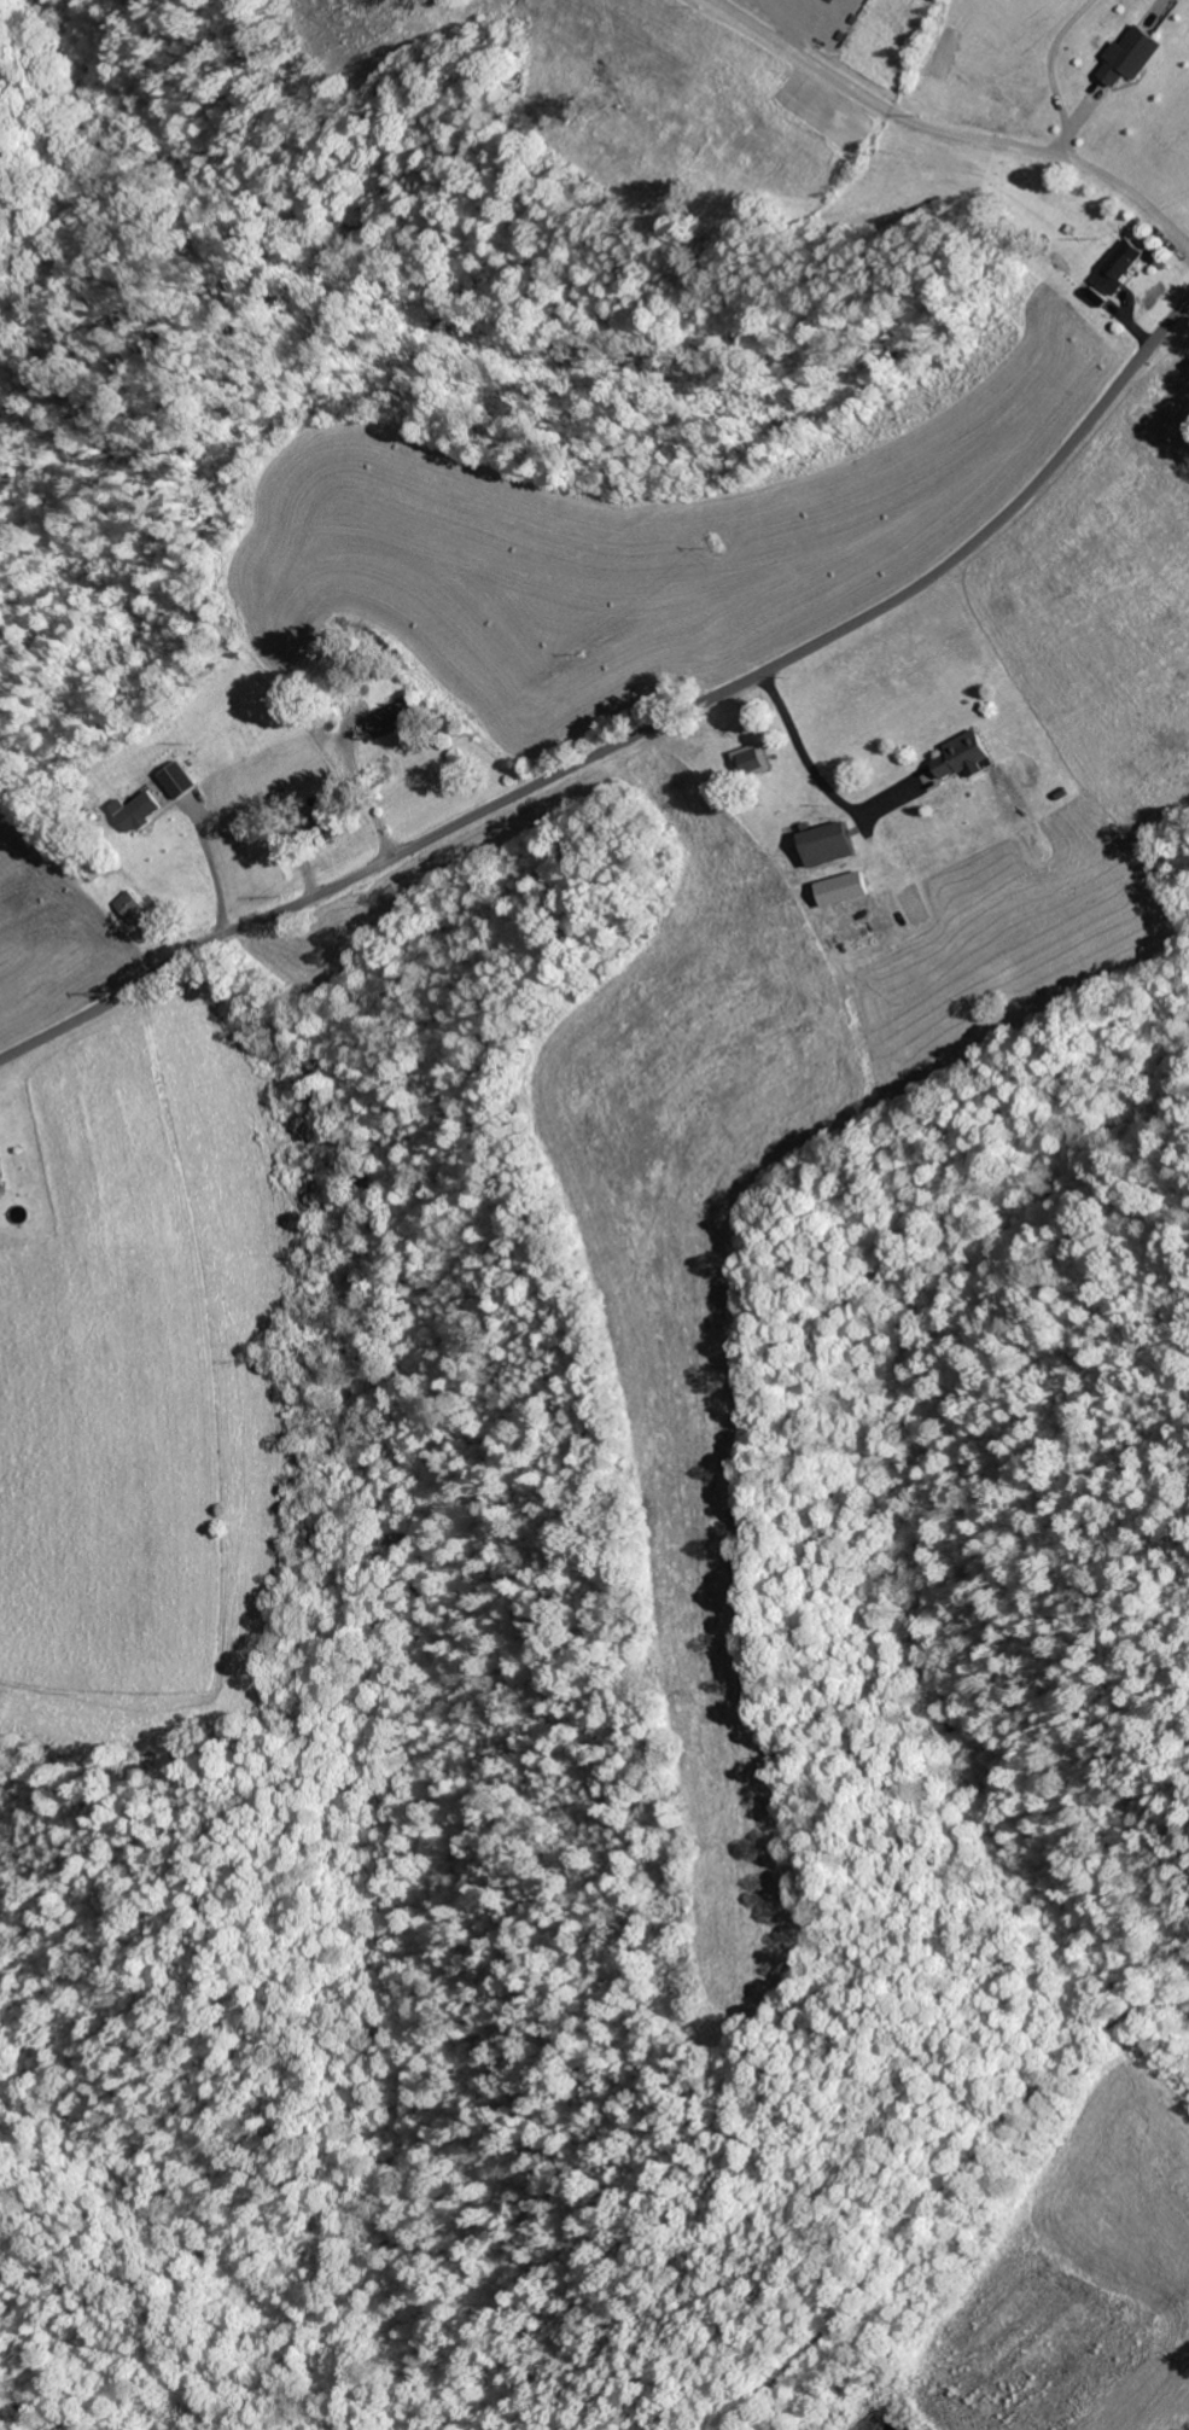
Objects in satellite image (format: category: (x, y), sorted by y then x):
building: (1130, 57)
road: (1034, 260)
building: (1117, 273)
building: (394, 719)
road: (635, 736)
building: (963, 756)
building: (752, 761)
building: (176, 779)
building: (135, 810)
building: (827, 844)
building: (841, 888)
building: (132, 908)
building: (1, 1182)
road: (948, 2203)
road: (153, 2333)

